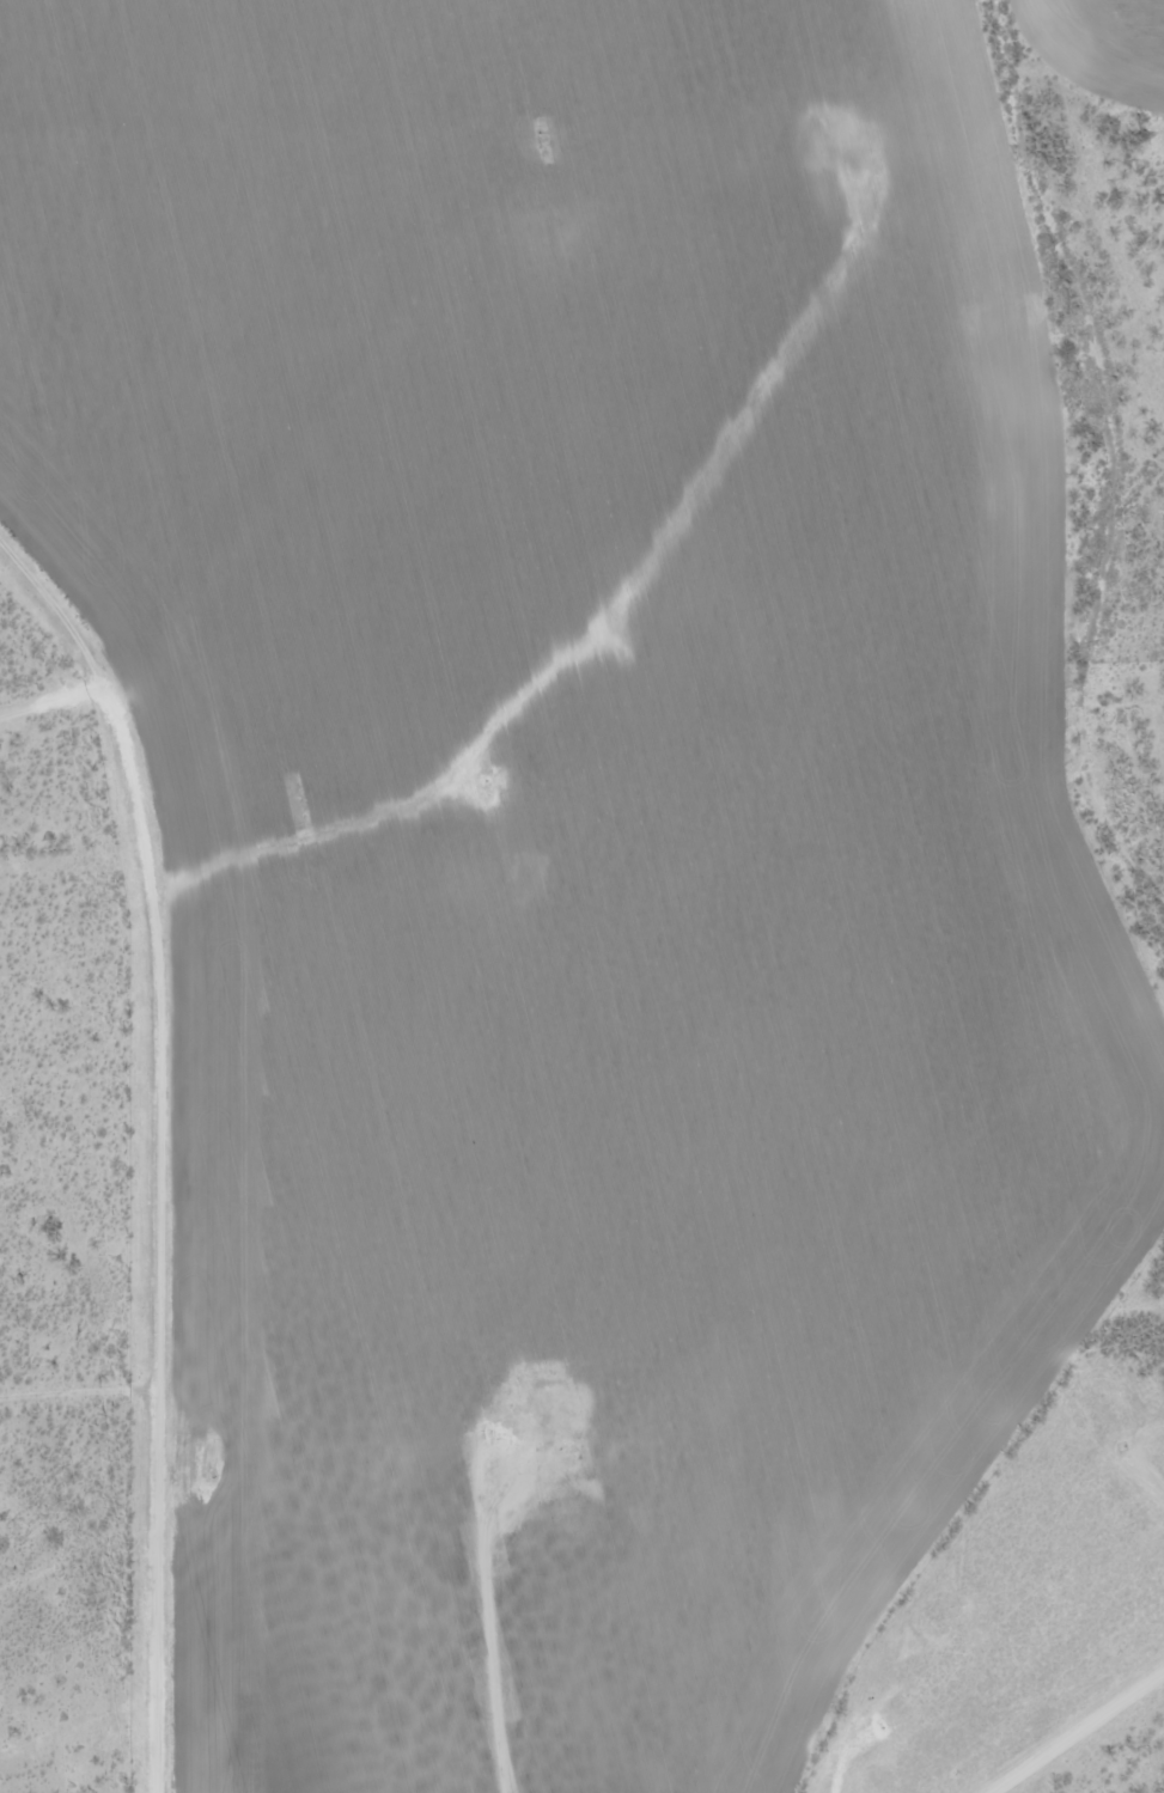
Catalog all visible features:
road: (51, 623)
road: (130, 1202)
road: (1064, 1716)

